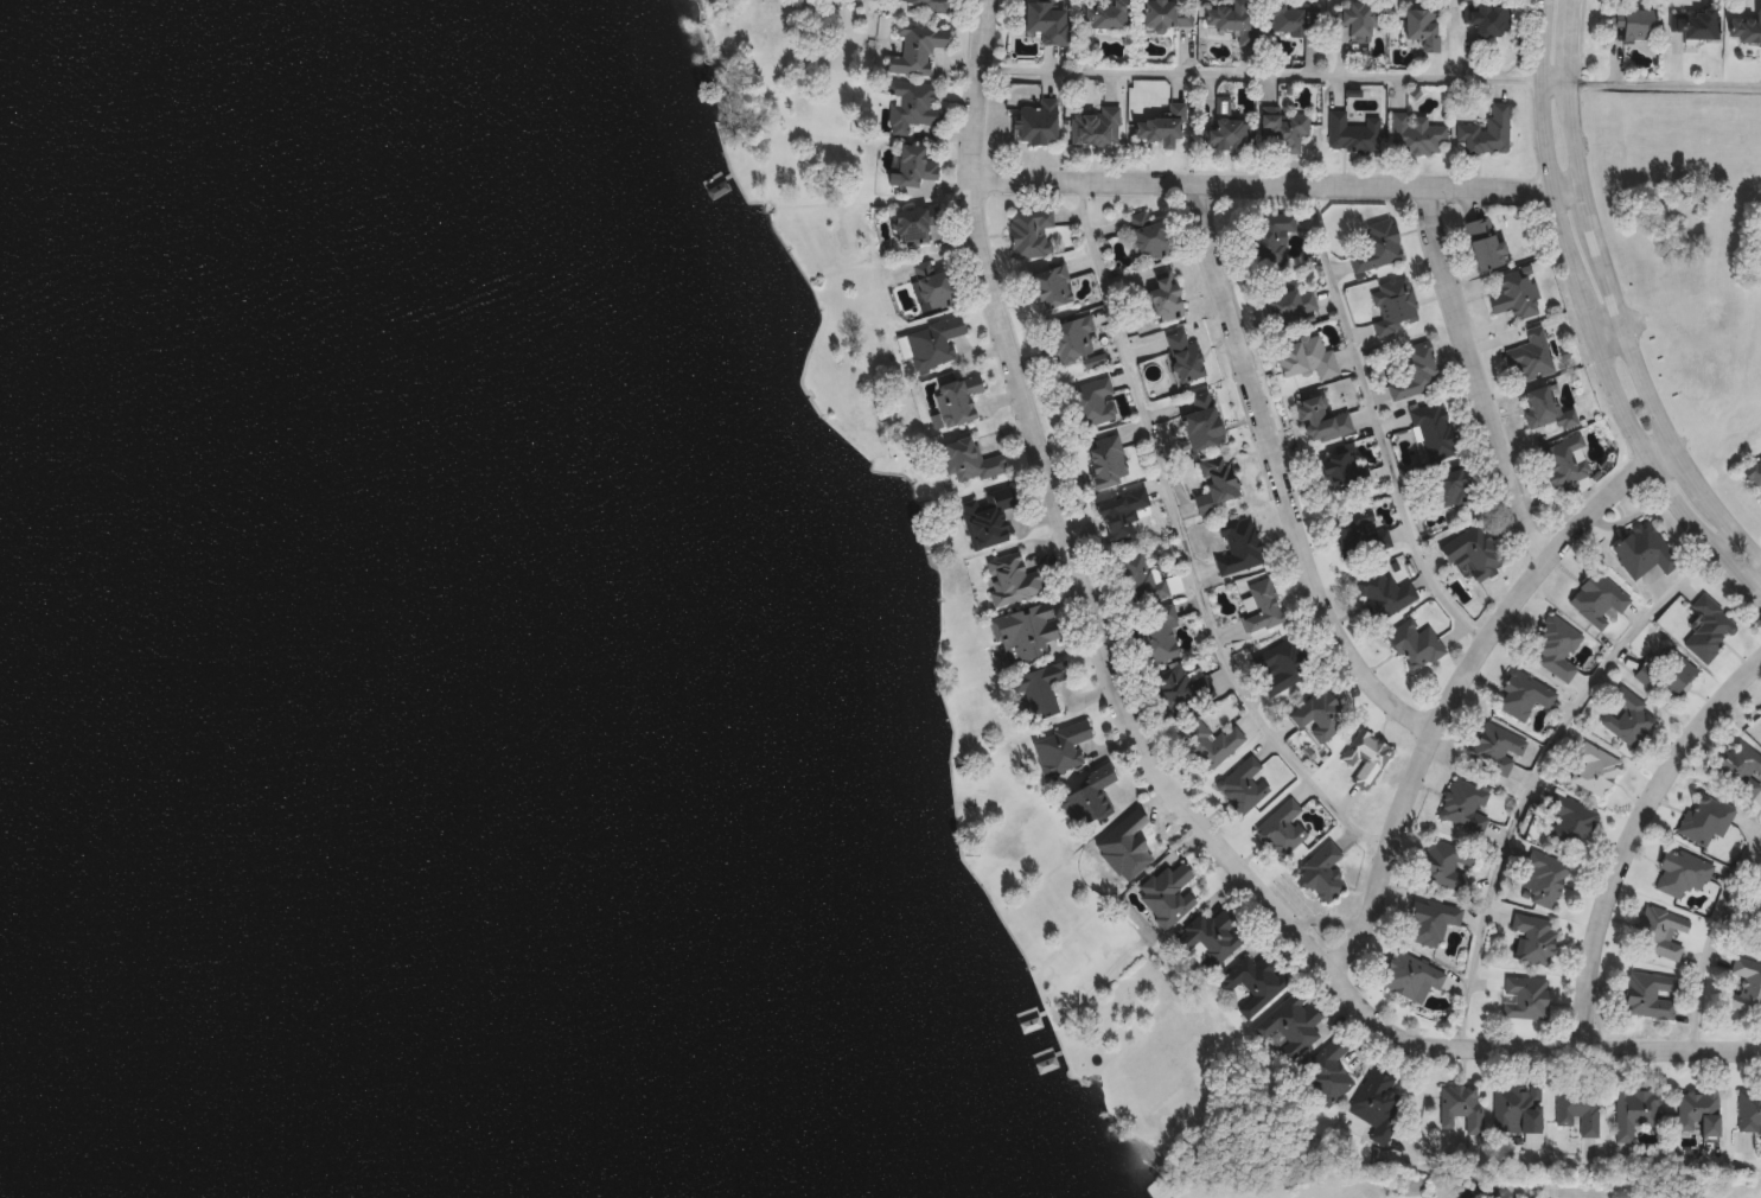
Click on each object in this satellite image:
building: (925, 4)
building: (1166, 13)
building: (1108, 14)
building: (1226, 15)
building: (1358, 17)
building: (1289, 18)
building: (1487, 18)
building: (1045, 20)
building: (1632, 23)
building: (1693, 23)
building: (1422, 26)
building: (1746, 30)
building: (917, 49)
road: (1276, 74)
road: (1666, 83)
building: (911, 104)
building: (268, 107)
building: (1036, 121)
building: (1095, 126)
building: (1159, 127)
building: (1282, 128)
building: (1351, 132)
building: (1486, 132)
building: (1220, 133)
building: (1415, 135)
building: (911, 166)
road: (1277, 179)
building: (913, 223)
building: (1029, 232)
building: (1147, 235)
building: (1266, 238)
building: (1379, 243)
building: (1484, 243)
building: (210, 247)
building: (94, 257)
building: (931, 283)
building: (1048, 287)
building: (1161, 294)
building: (1516, 294)
road: (1615, 295)
building: (1289, 305)
building: (1393, 305)
road: (1591, 323)
road: (1609, 327)
building: (1070, 338)
building: (930, 344)
building: (1531, 353)
building: (1182, 356)
building: (1303, 357)
building: (1414, 372)
road: (1474, 372)
building: (958, 399)
building: (1093, 402)
building: (1545, 408)
building: (1320, 419)
road: (1376, 419)
building: (1199, 421)
building: (1433, 429)
building: (966, 460)
building: (1103, 460)
building: (1564, 460)
building: (1341, 469)
building: (1755, 471)
road: (1281, 473)
building: (1217, 482)
building: (1450, 485)
building: (1119, 514)
building: (984, 516)
building: (1360, 531)
road: (1722, 536)
road: (1186, 543)
building: (1238, 546)
building: (1472, 550)
building: (1642, 550)
building: (1142, 578)
building: (1009, 579)
road: (1755, 585)
building: (1384, 592)
building: (1596, 599)
building: (1259, 605)
building: (1708, 629)
building: (1022, 632)
building: (1154, 635)
building: (1414, 644)
building: (1553, 646)
building: (1281, 667)
building: (1666, 673)
road: (1461, 678)
building: (1040, 688)
building: (1170, 690)
building: (1523, 695)
building: (1760, 712)
building: (1317, 714)
building: (1628, 718)
road: (1137, 737)
building: (1210, 743)
building: (1060, 748)
building: (1497, 748)
building: (1365, 757)
building: (1740, 767)
building: (1595, 769)
road: (1538, 773)
building: (1242, 785)
building: (1086, 797)
building: (1465, 804)
building: (1570, 820)
building: (1705, 820)
building: (1282, 828)
road: (1631, 835)
building: (1128, 845)
building: (1444, 865)
building: (1321, 873)
building: (1685, 873)
building: (1542, 879)
building: (1165, 893)
building: (1754, 915)
building: (1430, 919)
building: (1660, 932)
road: (1709, 935)
building: (1210, 937)
building: (1532, 937)
building: (1410, 975)
building: (1253, 980)
building: (1747, 984)
building: (1650, 994)
building: (1524, 998)
building: (1289, 1022)
building: (1047, 1064)
building: (1327, 1072)
building: (1376, 1101)
building: (1461, 1105)
building: (1516, 1108)
building: (1577, 1108)
building: (1634, 1109)
building: (1698, 1110)
building: (1749, 1110)
road: (1532, 1175)
road: (1482, 1190)

